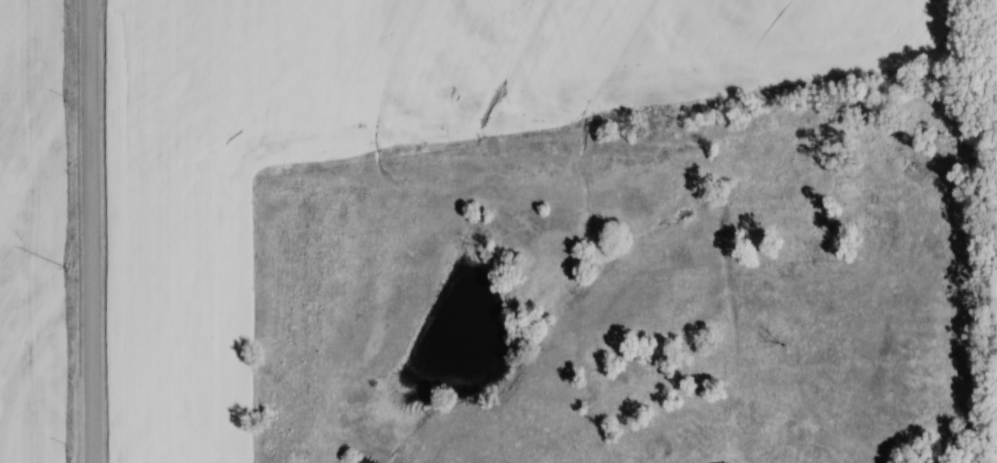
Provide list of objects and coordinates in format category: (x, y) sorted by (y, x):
road: (90, 231)

